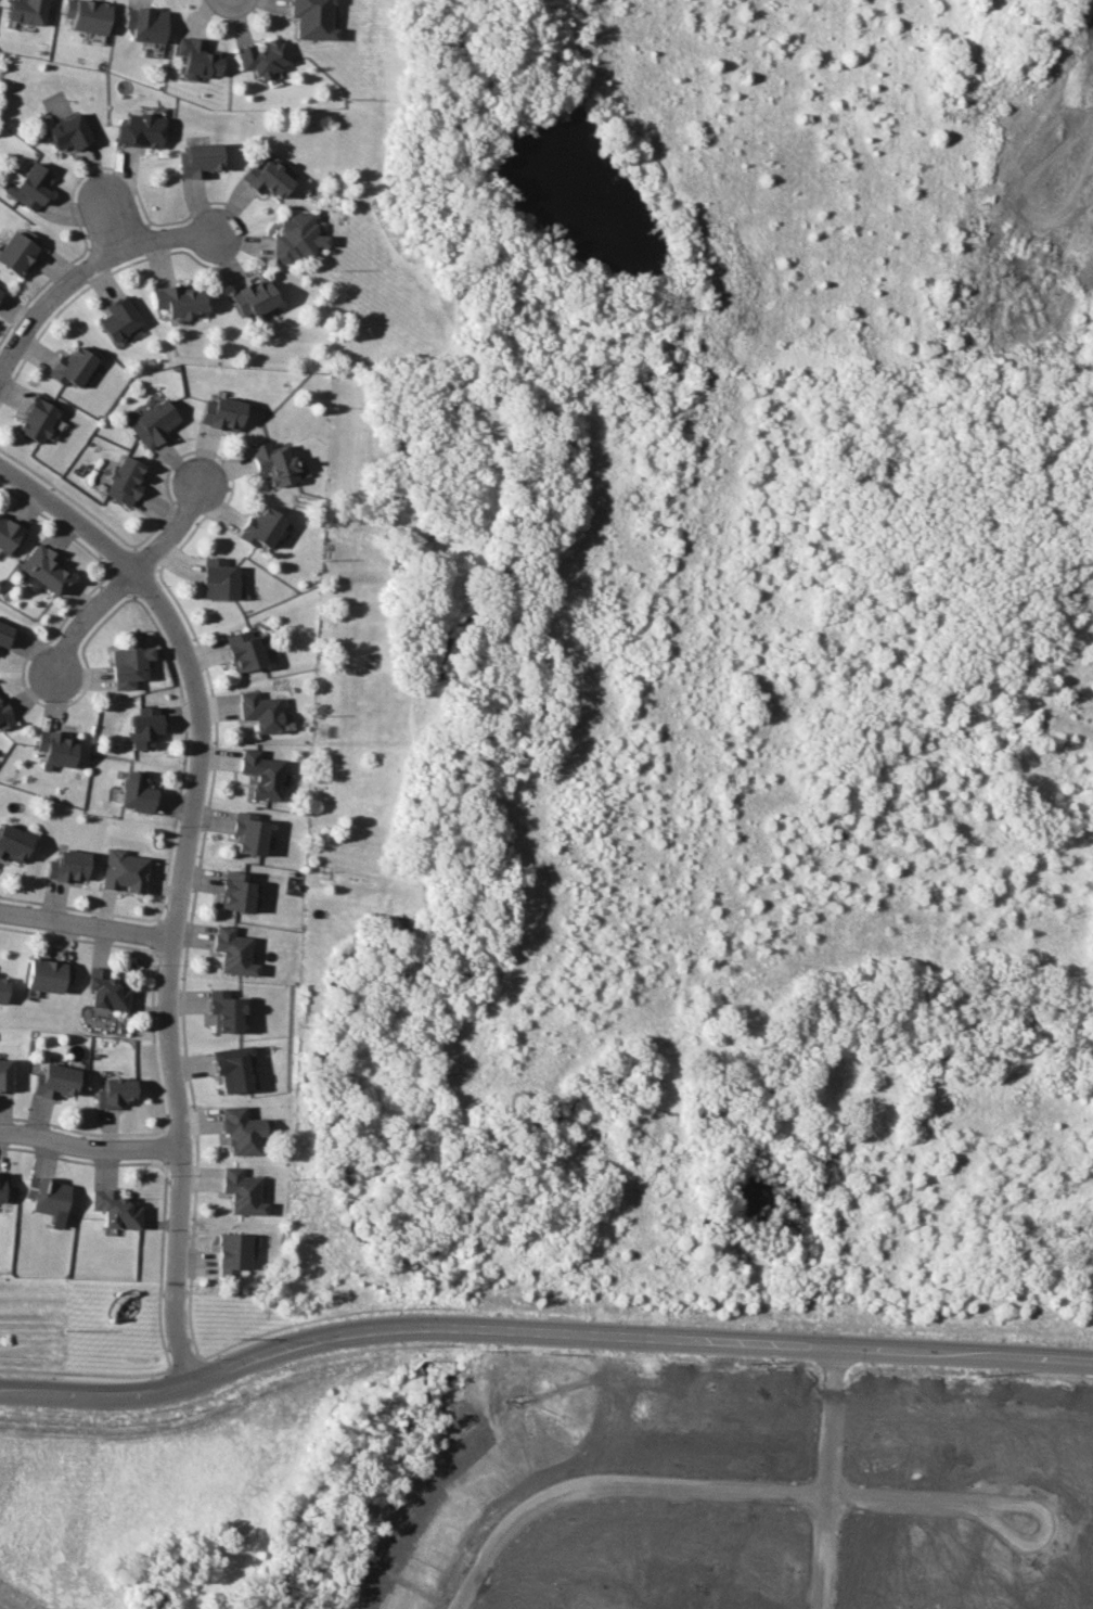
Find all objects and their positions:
building: (27, 11)
building: (87, 15)
building: (312, 18)
building: (145, 24)
building: (263, 56)
building: (198, 58)
building: (140, 129)
building: (68, 131)
building: (200, 158)
building: (267, 178)
building: (29, 186)
road: (112, 216)
building: (296, 238)
building: (17, 250)
road: (89, 265)
building: (0, 291)
building: (254, 297)
building: (178, 299)
building: (119, 318)
building: (72, 366)
building: (221, 412)
building: (37, 417)
building: (154, 422)
building: (274, 462)
building: (125, 480)
building: (260, 527)
road: (170, 533)
building: (9, 536)
building: (44, 567)
building: (218, 578)
road: (82, 626)
building: (4, 633)
building: (244, 650)
building: (128, 665)
building: (260, 711)
building: (4, 715)
building: (143, 727)
building: (55, 748)
building: (261, 774)
building: (136, 791)
building: (248, 832)
building: (13, 842)
building: (67, 865)
building: (124, 870)
road: (179, 883)
building: (235, 891)
road: (86, 924)
building: (232, 950)
building: (48, 974)
building: (3, 987)
building: (106, 989)
building: (223, 1010)
building: (231, 1068)
building: (5, 1074)
building: (55, 1081)
building: (115, 1093)
building: (241, 1131)
road: (89, 1145)
building: (3, 1186)
building: (242, 1191)
building: (48, 1197)
building: (116, 1209)
building: (232, 1253)
road: (636, 1333)
road: (95, 1394)
road: (824, 1465)
road: (612, 1493)
road: (992, 1509)

